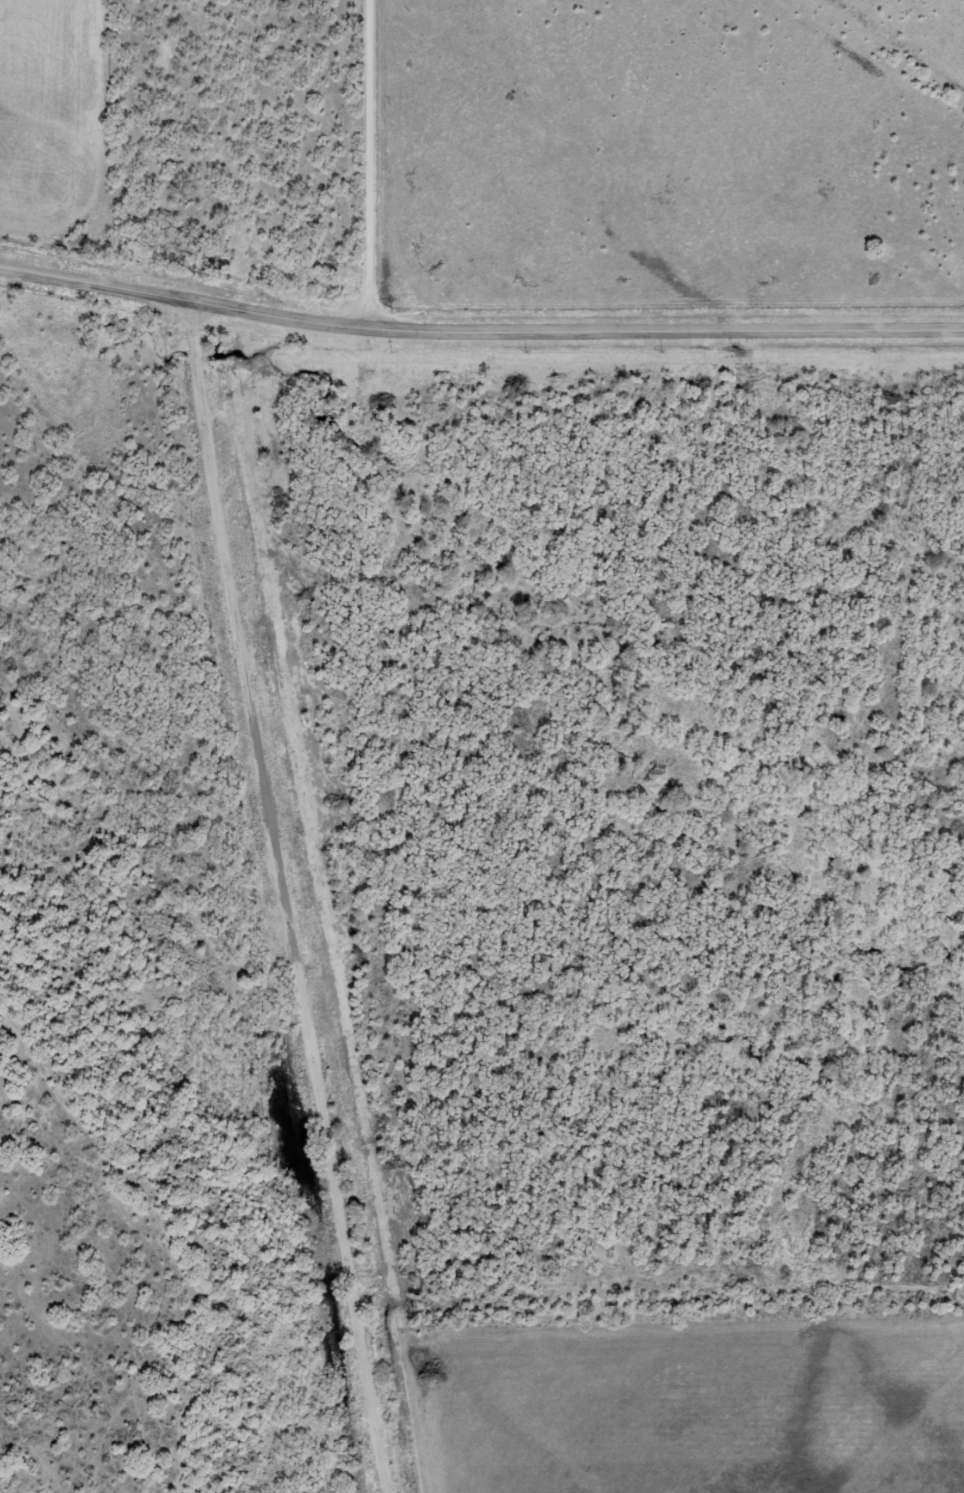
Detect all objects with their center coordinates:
road: (387, 165)
road: (479, 332)
road: (312, 894)

